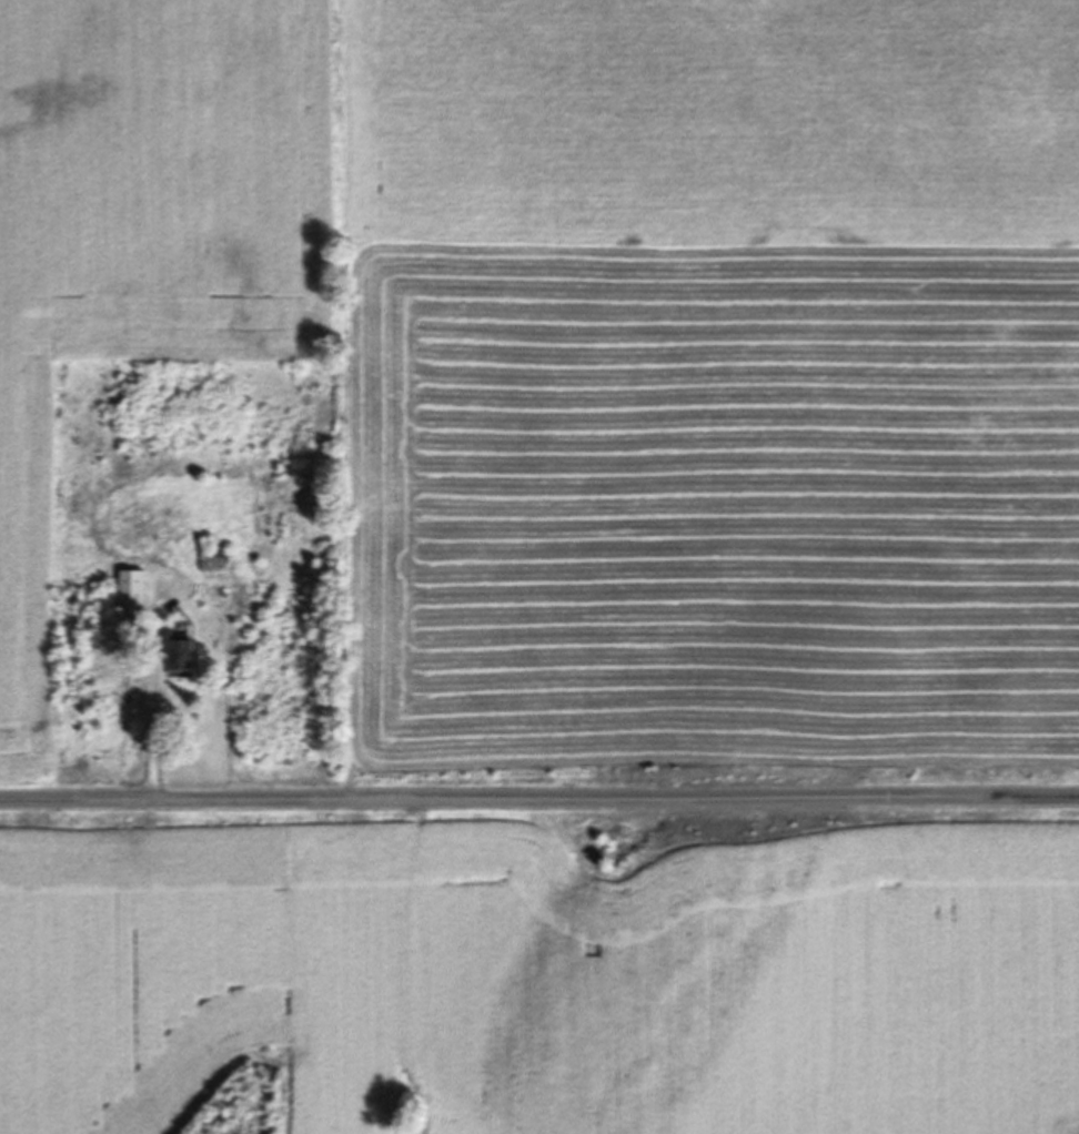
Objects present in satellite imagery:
building: (223, 567)
building: (140, 600)
building: (191, 664)
road: (151, 700)
road: (539, 800)

